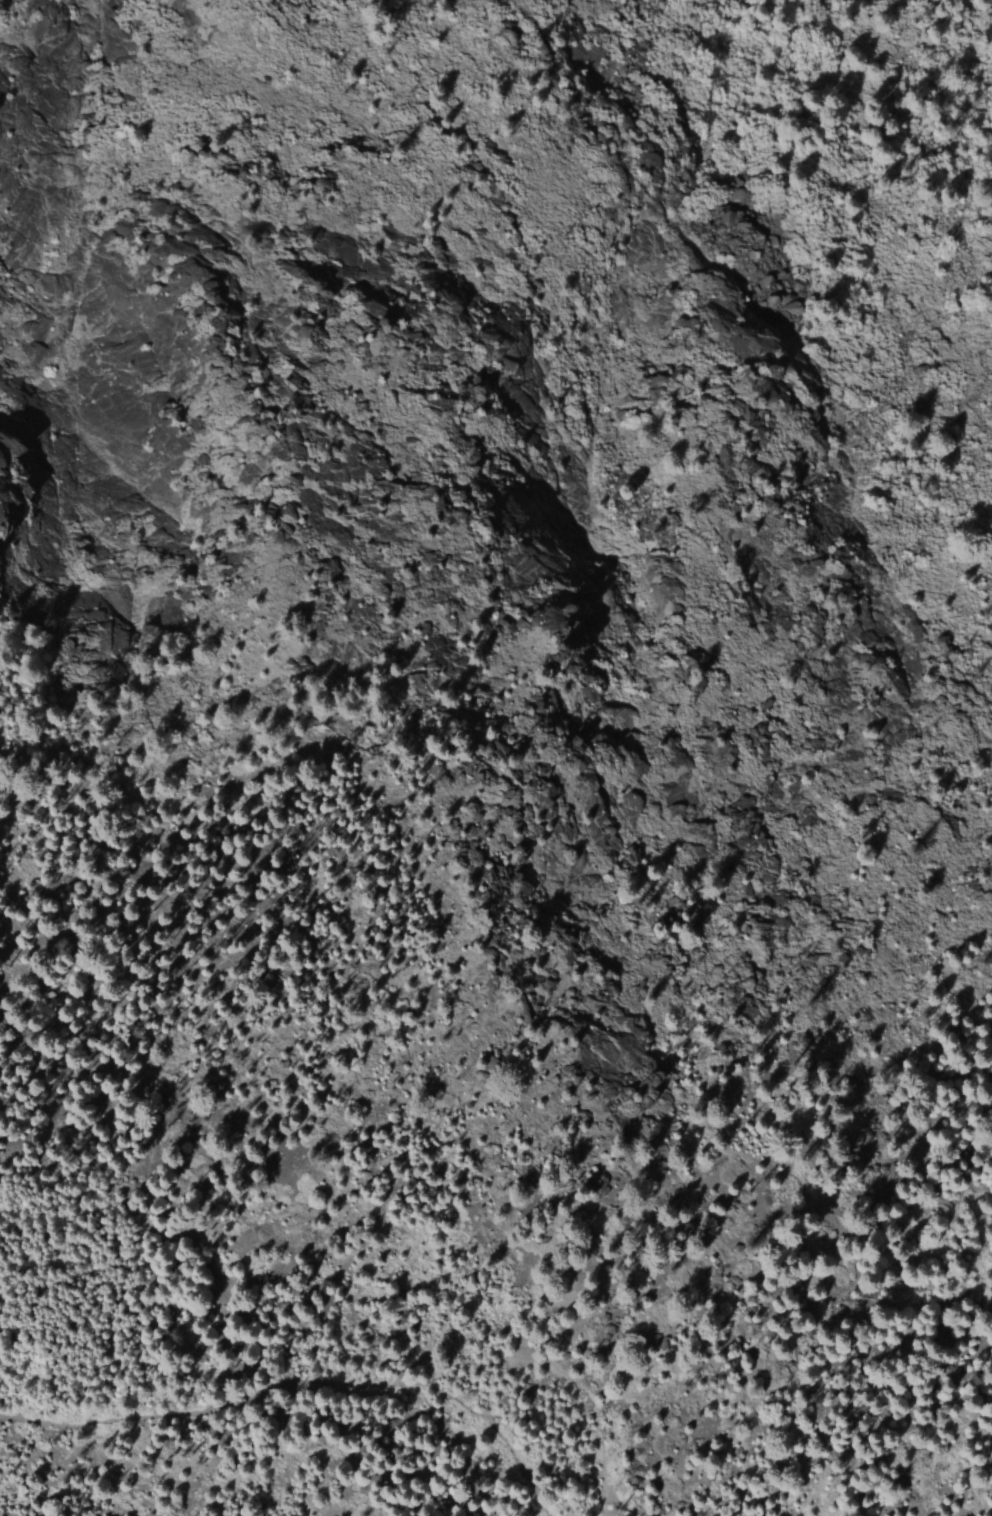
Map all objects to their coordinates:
road: (978, 1302)
road: (244, 1405)
road: (594, 1411)
road: (570, 1443)
road: (518, 1462)

